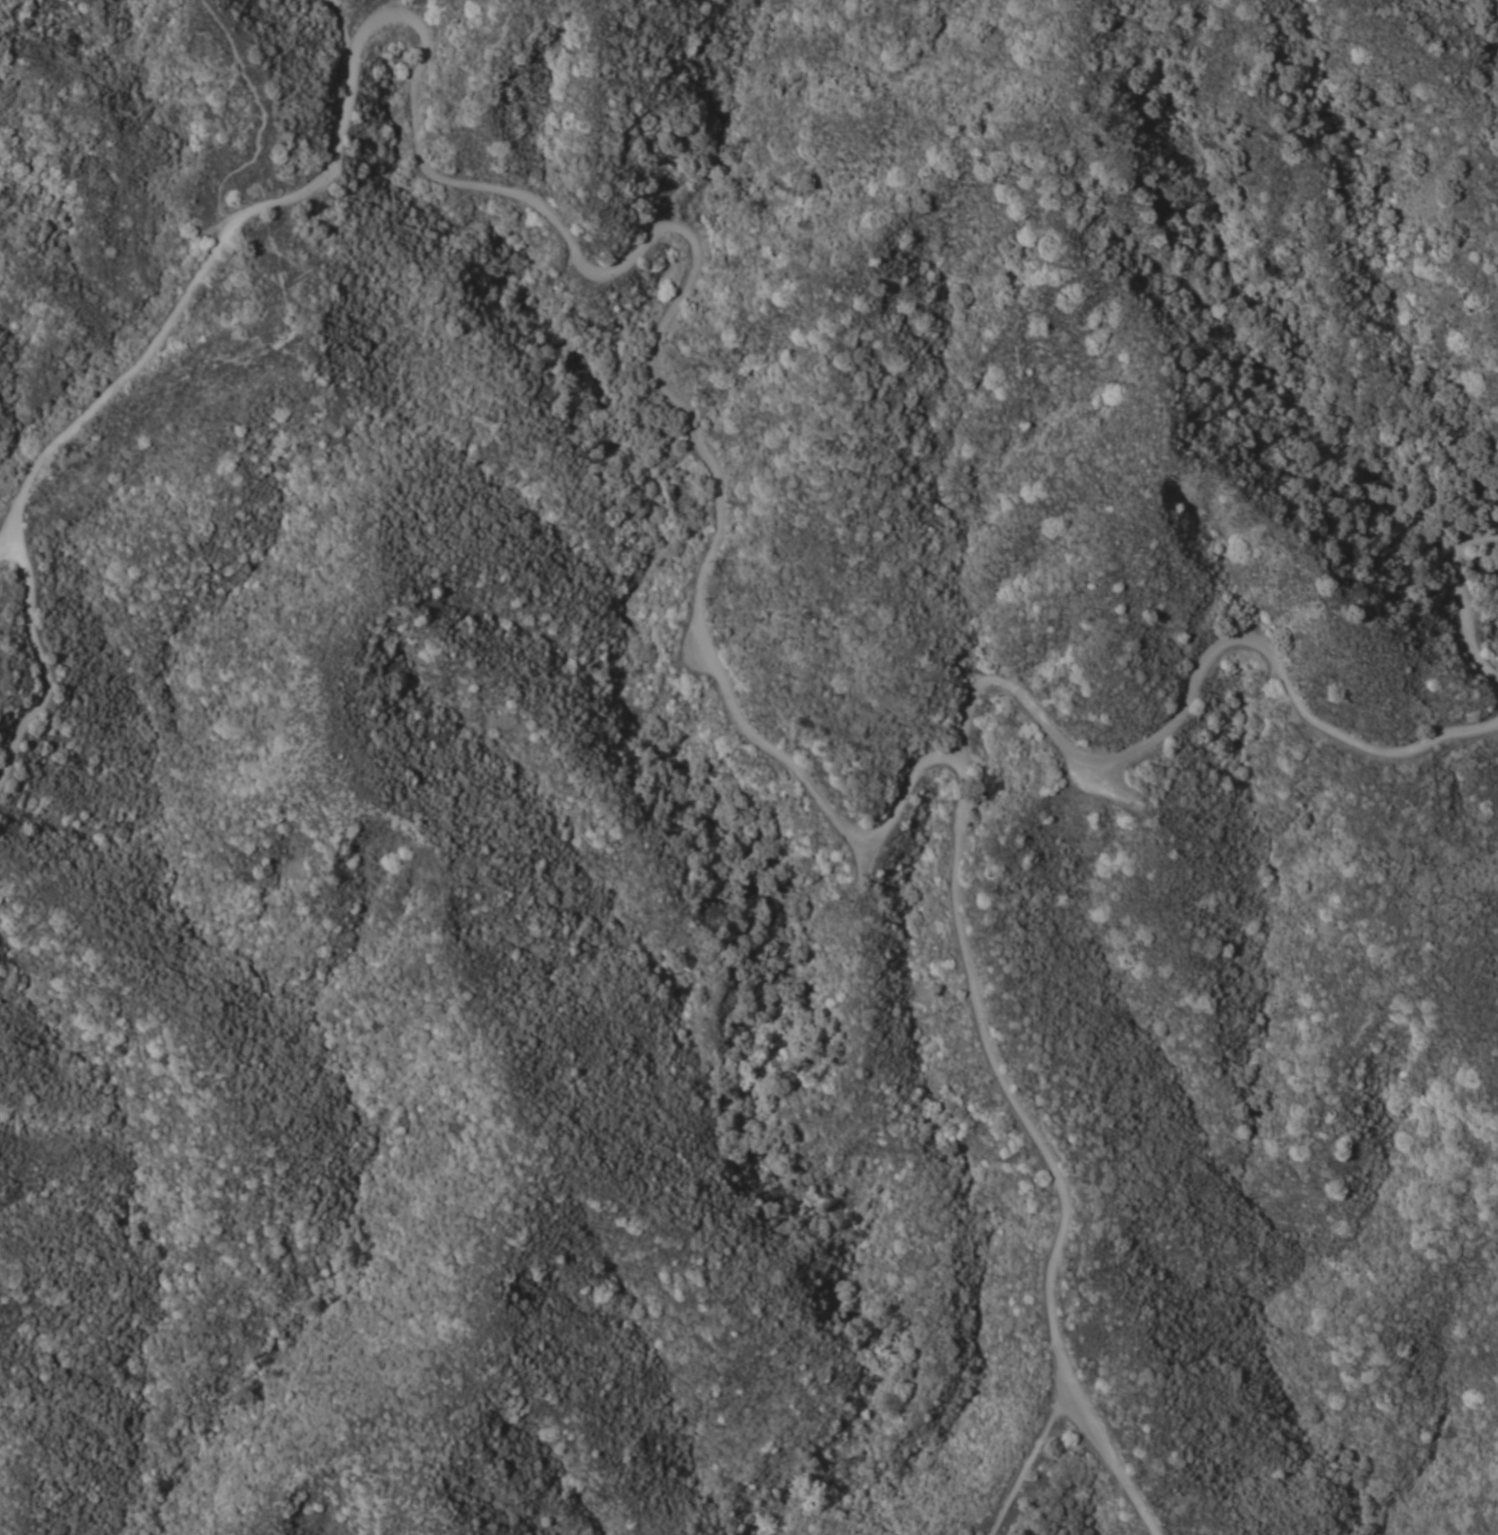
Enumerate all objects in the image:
road: (255, 115)
road: (545, 213)
road: (1462, 597)
road: (43, 664)
road: (1196, 679)
road: (1043, 1158)
road: (1022, 1455)

